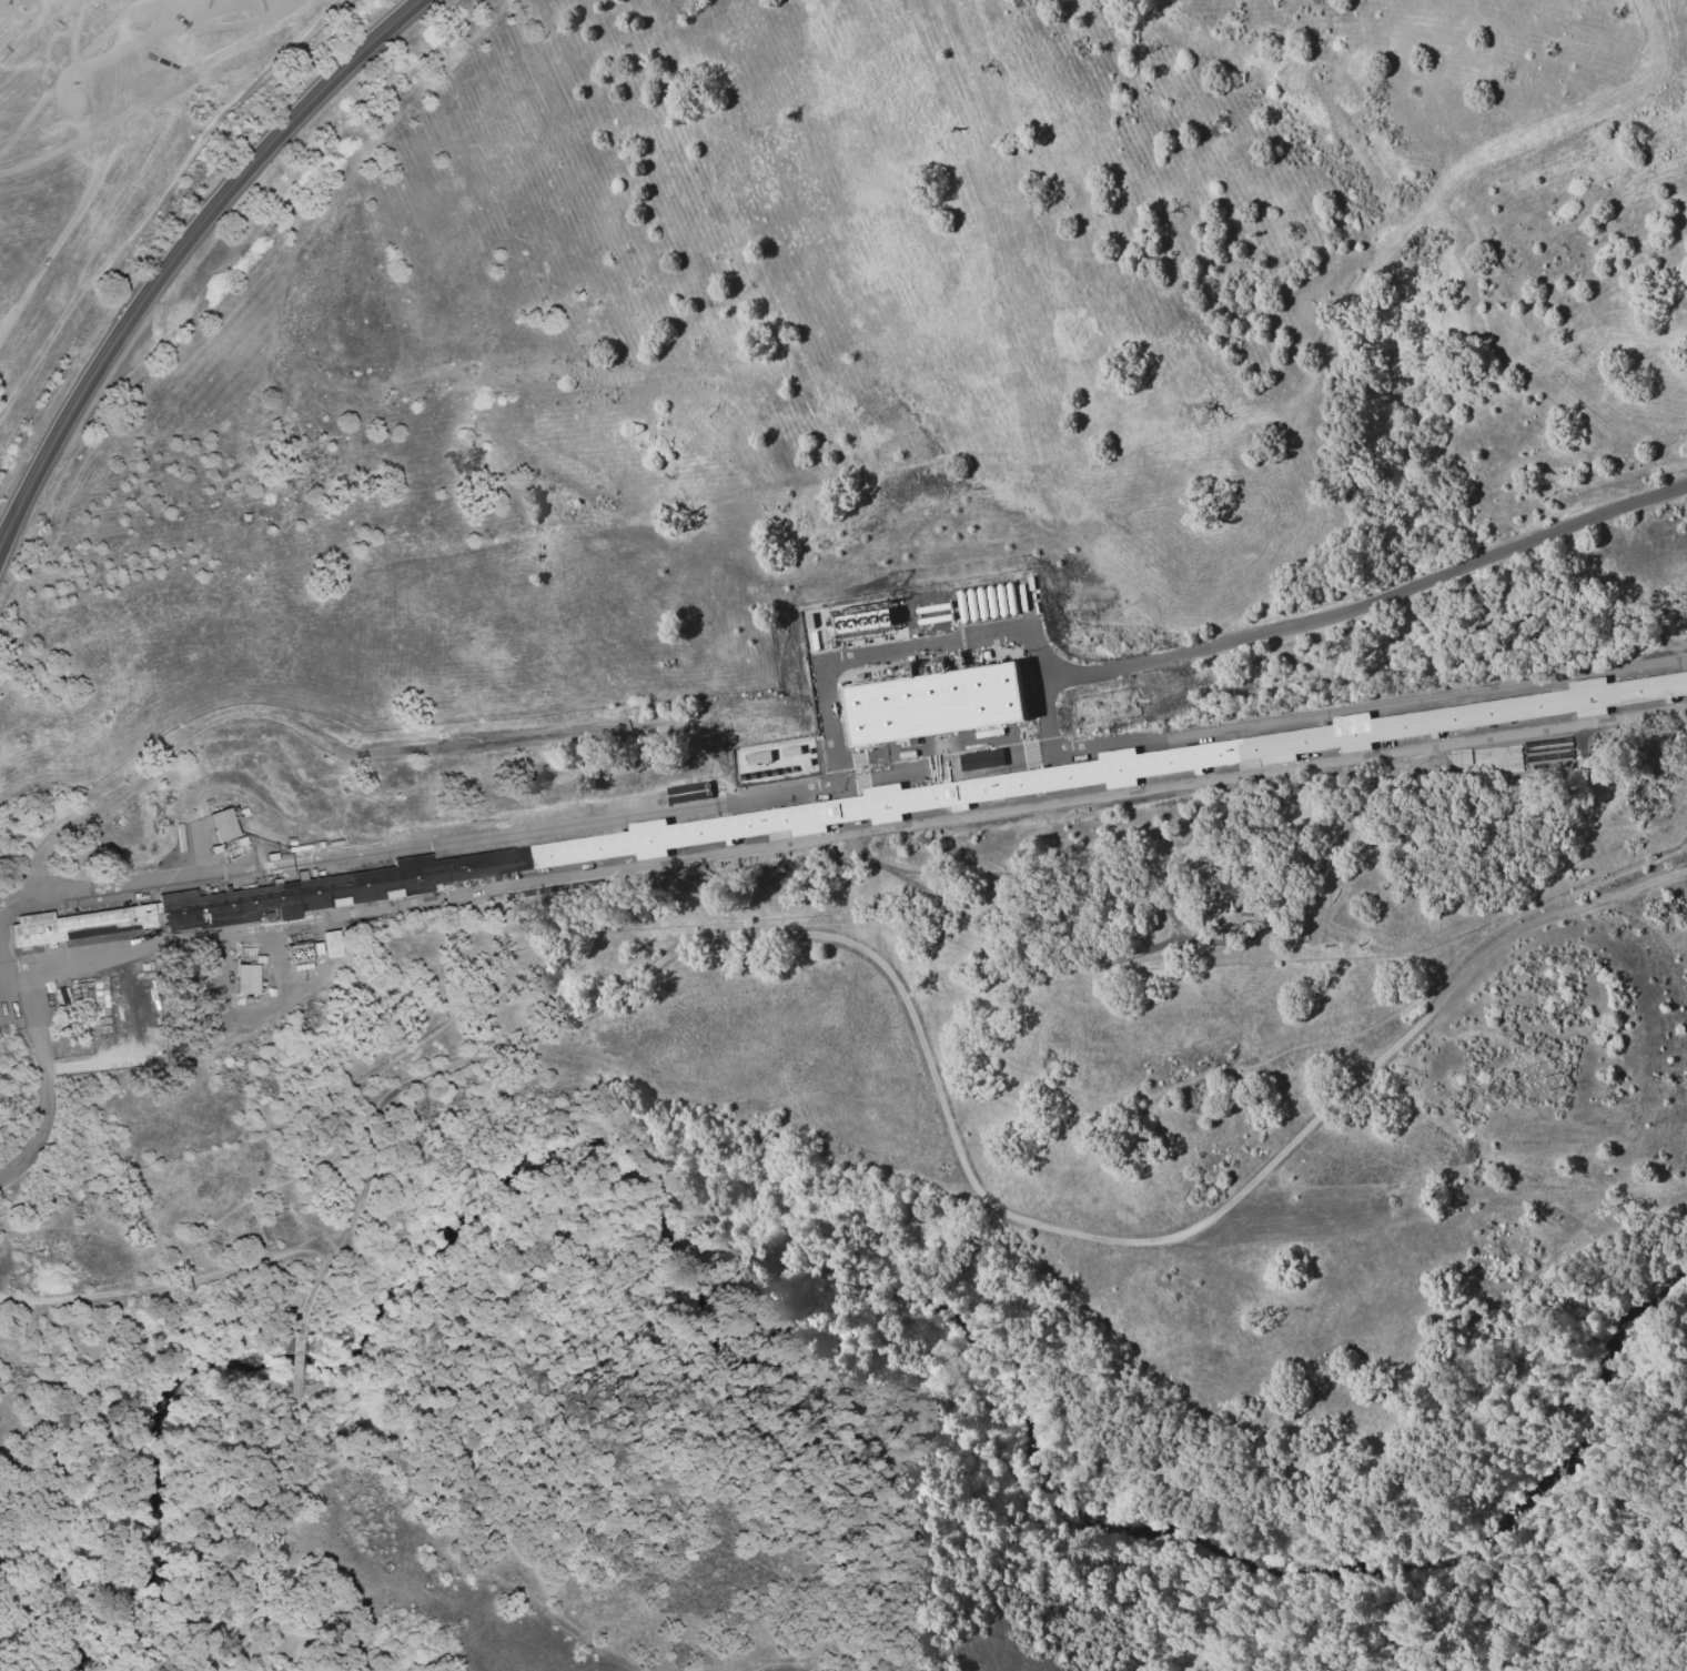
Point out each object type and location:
road: (179, 259)
road: (1370, 604)
building: (867, 621)
road: (872, 654)
road: (1036, 656)
building: (907, 670)
building: (939, 704)
road: (314, 737)
road: (840, 771)
building: (686, 792)
building: (240, 814)
building: (826, 815)
building: (224, 827)
road: (855, 834)
building: (244, 844)
building: (293, 844)
building: (322, 846)
building: (218, 852)
building: (273, 859)
building: (333, 944)
building: (320, 949)
building: (244, 954)
building: (300, 955)
building: (261, 960)
building: (306, 972)
building: (251, 980)
road: (895, 983)
building: (269, 993)
road: (44, 1070)
road: (309, 1296)
road: (299, 1363)
road: (967, 1425)
road: (246, 1530)

